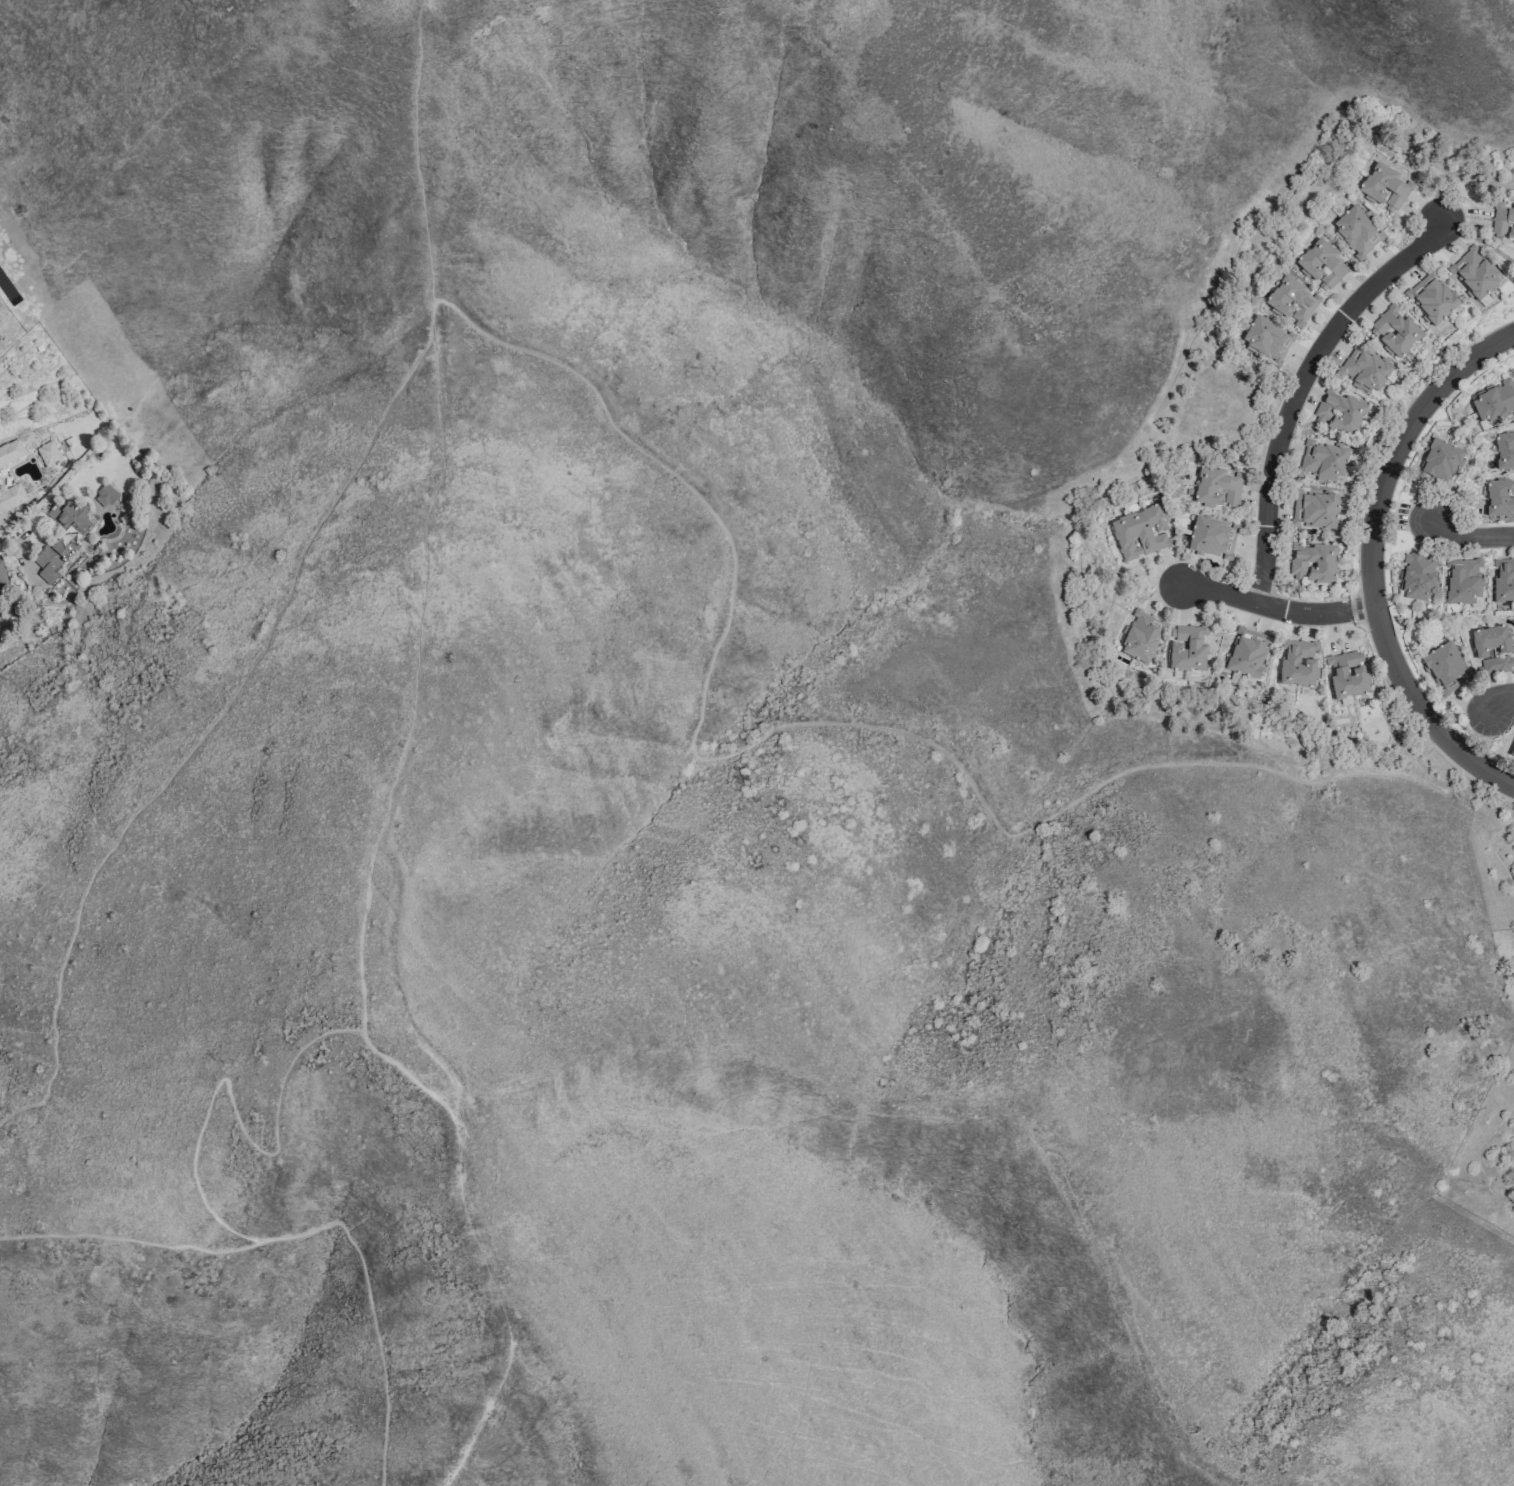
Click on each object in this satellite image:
building: (1383, 183)
building: (1507, 223)
building: (1321, 265)
building: (1473, 273)
building: (1291, 300)
building: (1430, 300)
building: (1394, 332)
building: (1265, 339)
building: (1364, 370)
road: (1303, 384)
building: (1494, 403)
building: (1339, 413)
building: (1504, 451)
building: (10, 452)
building: (47, 453)
building: (1322, 461)
building: (1439, 461)
building: (1217, 486)
building: (11, 497)
building: (102, 498)
building: (1498, 500)
building: (1316, 512)
building: (1140, 532)
building: (62, 537)
building: (1212, 538)
road: (1472, 538)
road: (14, 543)
road: (1374, 561)
building: (1312, 562)
building: (1, 572)
building: (1416, 578)
building: (1503, 580)
building: (34, 582)
building: (1462, 582)
road: (1279, 611)
building: (1140, 636)
building: (1489, 641)
building: (1185, 649)
building: (1245, 652)
building: (1297, 663)
building: (1445, 667)
building: (1347, 675)
road: (1499, 698)
road: (216, 719)
road: (840, 724)
building: (1512, 752)
road: (358, 934)
road: (234, 1113)
road: (304, 1232)

